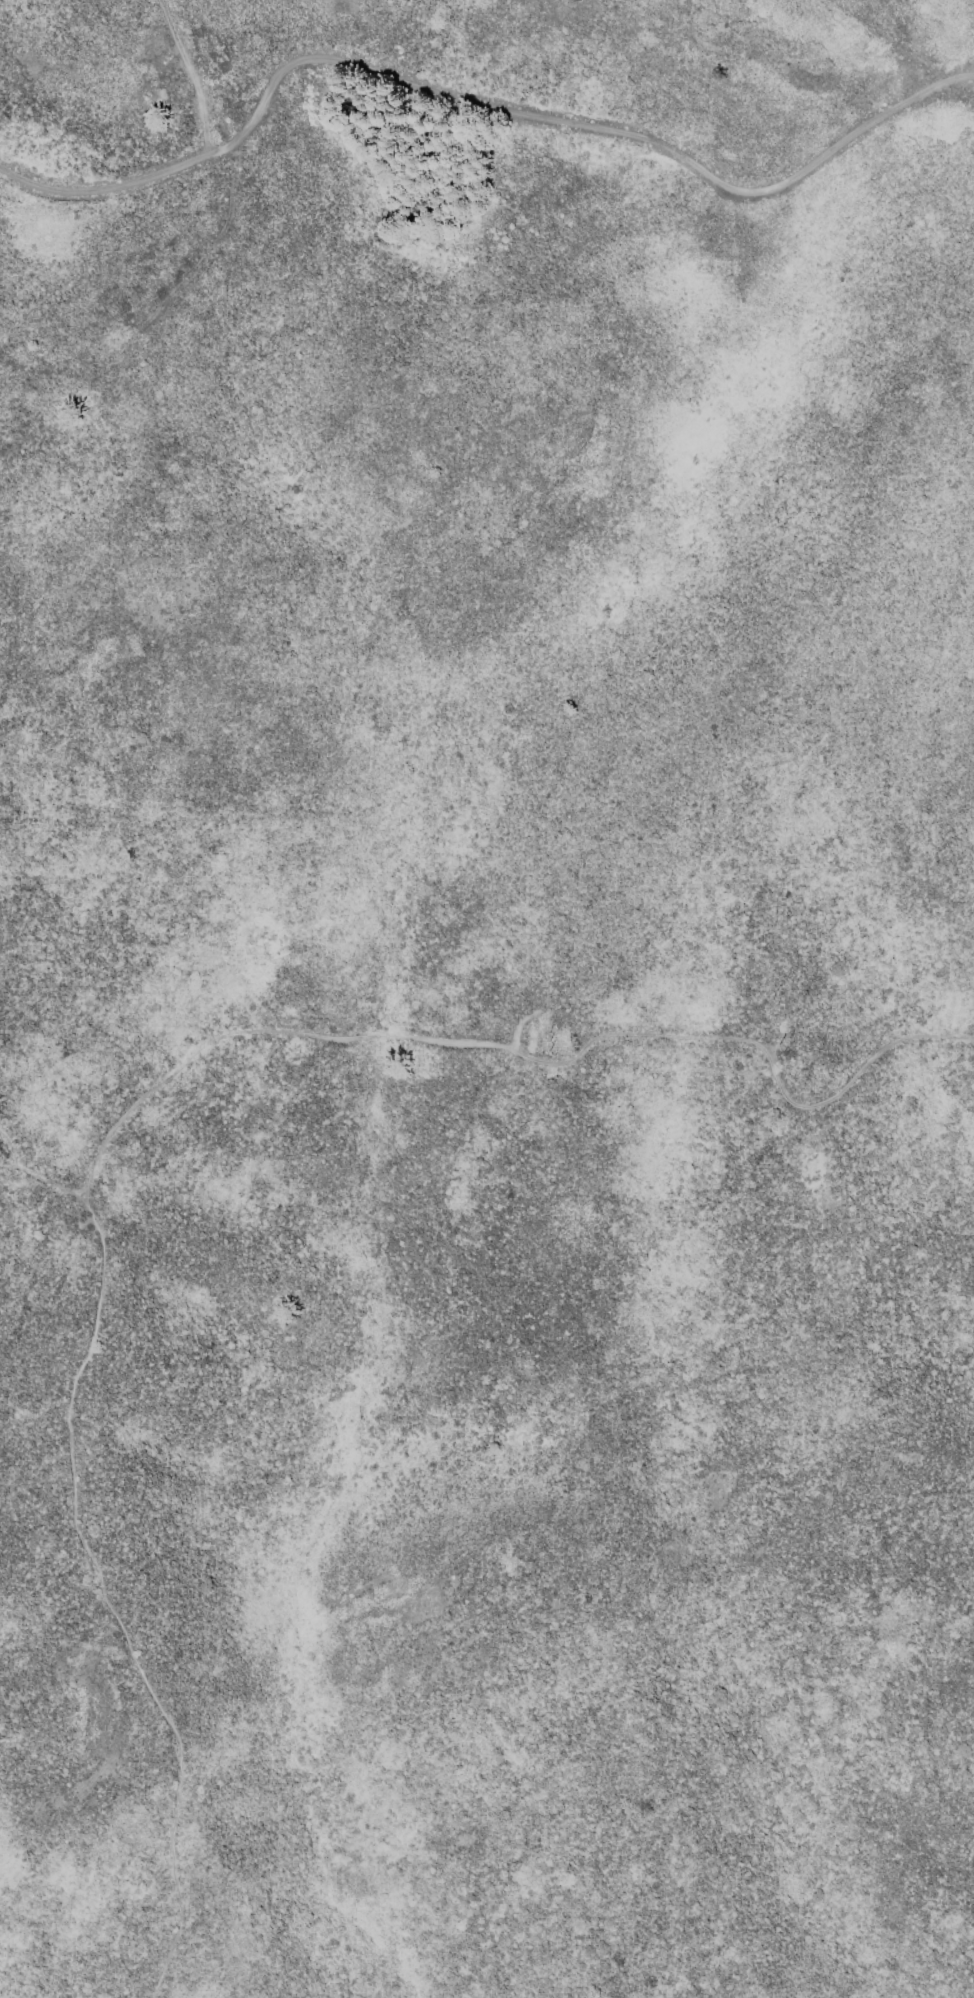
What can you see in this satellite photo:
road: (430, 88)
road: (926, 90)
road: (138, 326)
road: (579, 1044)
road: (9, 1165)
road: (35, 1172)
park: (486, 1518)
road: (83, 1538)

